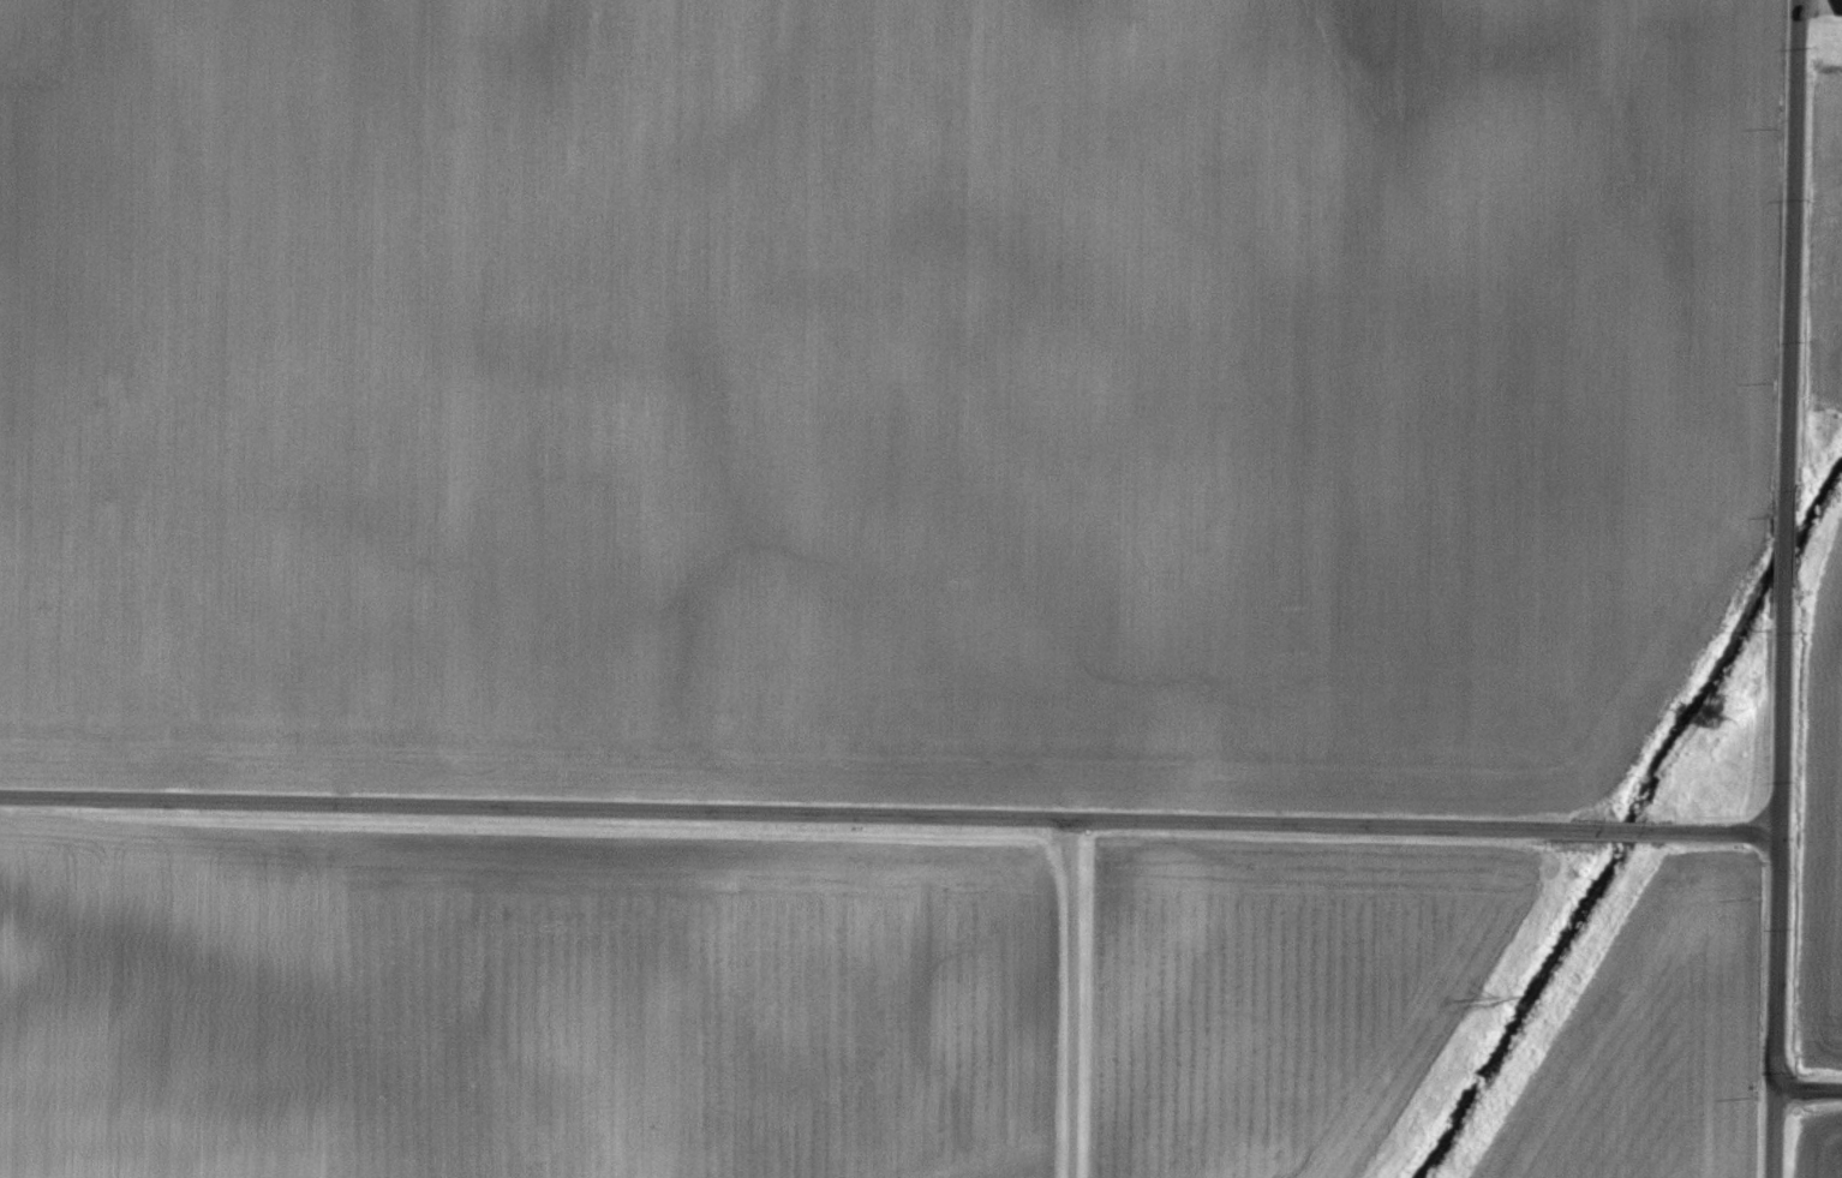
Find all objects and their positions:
road: (1788, 413)
road: (889, 813)
road: (1075, 998)
road: (1776, 1003)
road: (1808, 1083)

